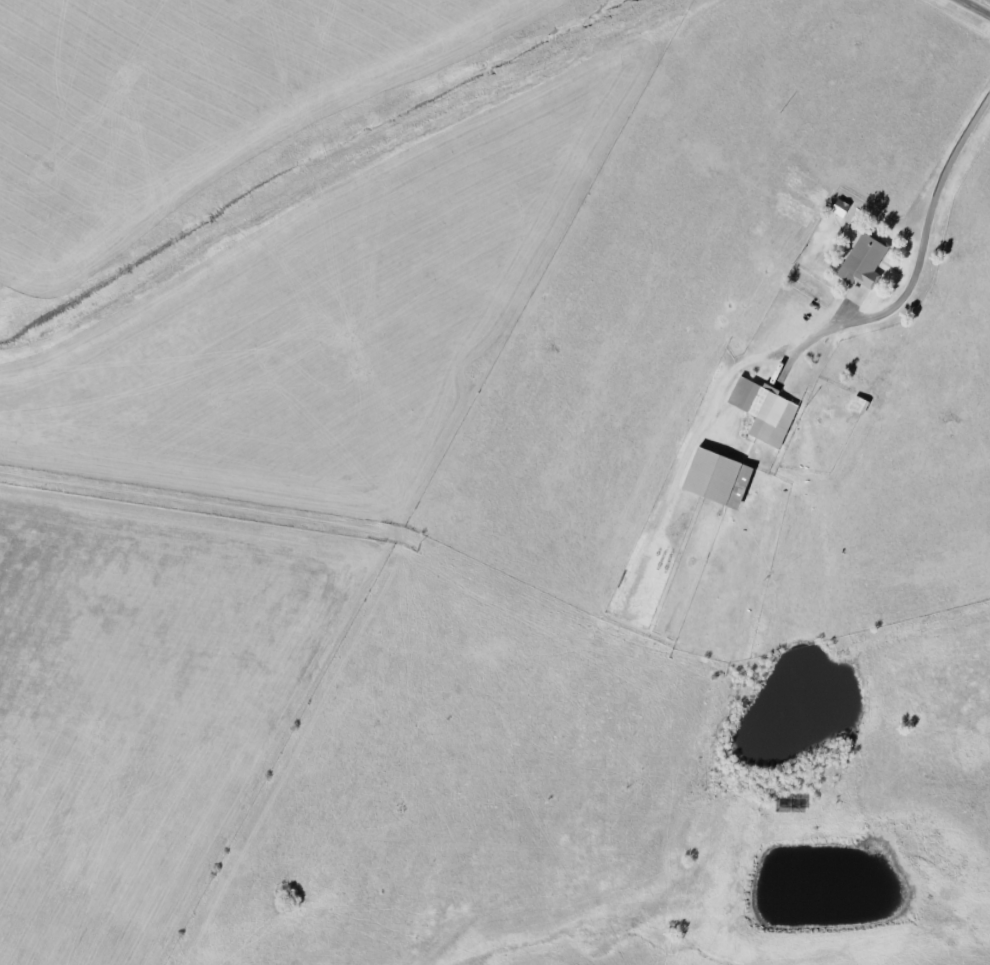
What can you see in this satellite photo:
road: (981, 4)
building: (841, 207)
building: (865, 260)
road: (919, 260)
building: (765, 409)
building: (719, 477)

